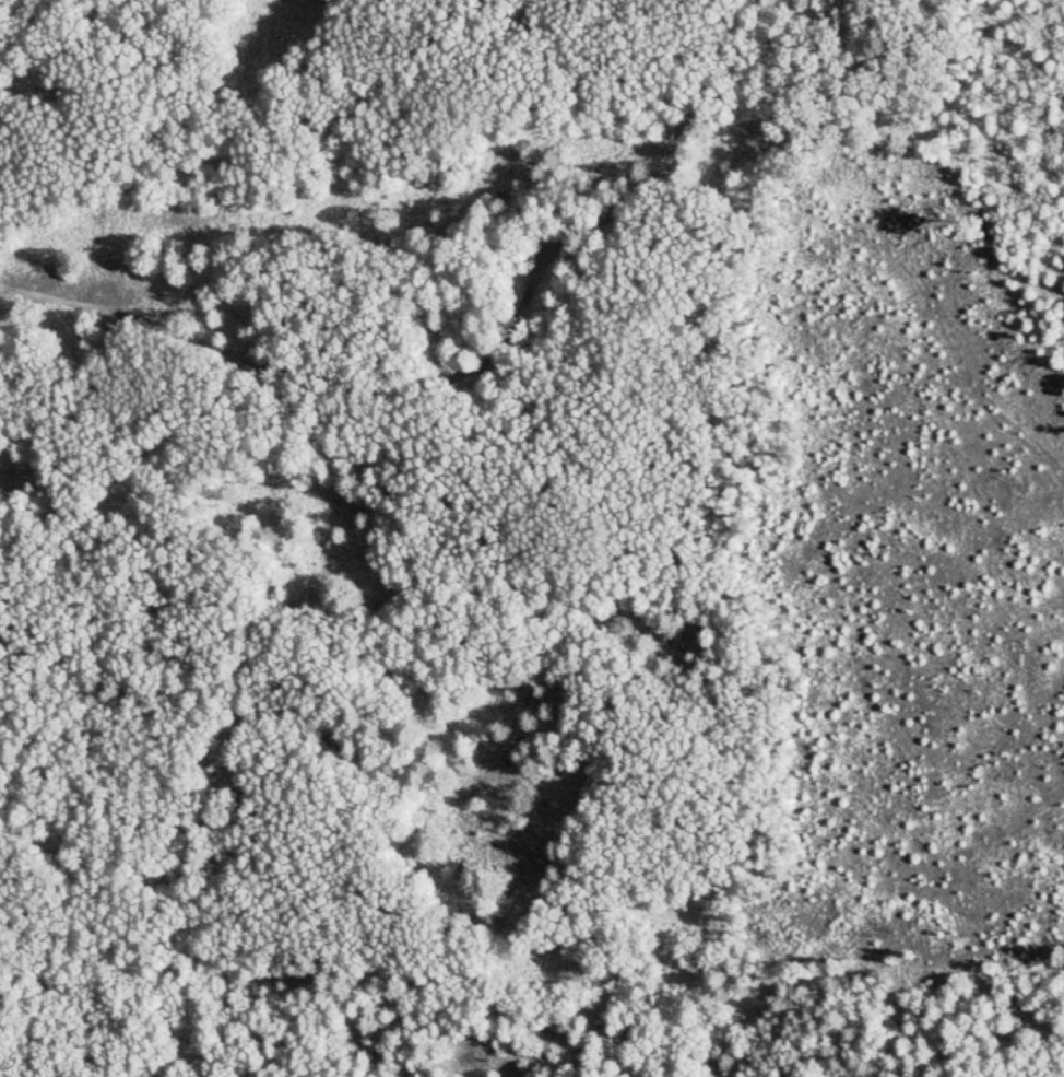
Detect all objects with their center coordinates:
road: (466, 372)

